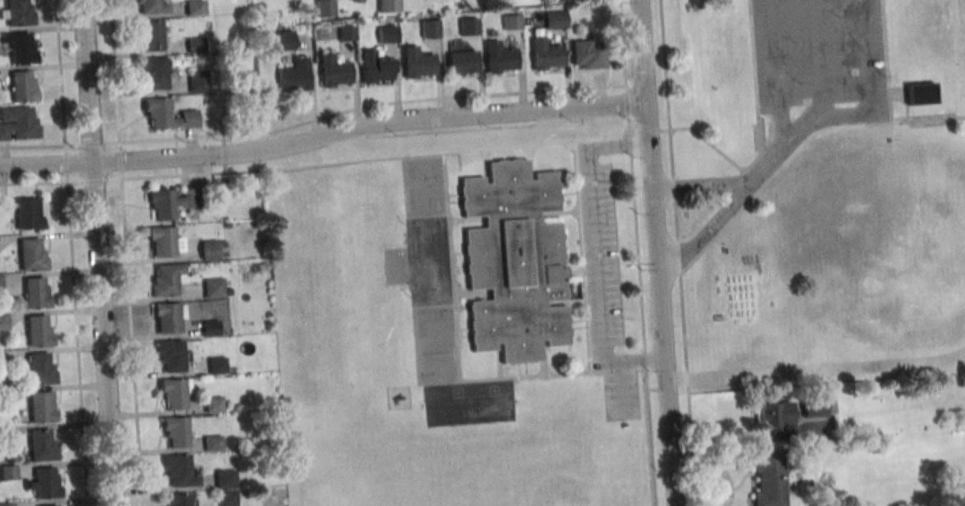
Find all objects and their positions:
building: (358, 0)
building: (559, 0)
building: (152, 6)
building: (388, 6)
building: (194, 7)
building: (324, 8)
building: (17, 12)
building: (555, 19)
building: (511, 21)
building: (468, 26)
building: (429, 29)
building: (346, 32)
building: (386, 34)
building: (150, 35)
building: (285, 40)
building: (195, 44)
building: (20, 46)
road: (870, 47)
road: (643, 51)
building: (545, 54)
building: (588, 54)
parking lot: (819, 54)
building: (500, 57)
road: (822, 58)
road: (886, 61)
building: (416, 62)
building: (462, 62)
building: (375, 66)
building: (333, 67)
building: (154, 71)
road: (779, 73)
building: (293, 76)
road: (755, 77)
road: (87, 79)
building: (197, 81)
building: (22, 86)
road: (667, 89)
road: (889, 93)
building: (921, 93)
road: (907, 107)
road: (858, 113)
building: (170, 114)
road: (312, 119)
road: (368, 122)
building: (18, 123)
road: (645, 126)
road: (801, 128)
road: (454, 140)
road: (649, 146)
road: (798, 147)
road: (719, 151)
road: (46, 162)
road: (769, 164)
road: (315, 165)
road: (702, 185)
road: (674, 187)
park: (819, 188)
building: (162, 203)
building: (4, 208)
building: (28, 213)
building: (191, 213)
road: (676, 219)
road: (655, 223)
road: (709, 229)
building: (165, 241)
building: (213, 249)
road: (637, 252)
road: (71, 253)
road: (125, 253)
road: (595, 253)
building: (32, 254)
road: (679, 258)
building: (513, 260)
building: (167, 280)
building: (0, 283)
building: (214, 287)
building: (36, 292)
building: (169, 315)
building: (3, 321)
building: (210, 327)
building: (39, 330)
road: (103, 332)
building: (170, 353)
building: (0, 359)
building: (217, 365)
building: (41, 369)
road: (666, 381)
road: (689, 390)
building: (176, 391)
building: (4, 397)
building: (213, 404)
building: (41, 406)
building: (819, 406)
building: (774, 415)
building: (176, 430)
building: (3, 435)
road: (727, 440)
building: (212, 442)
building: (41, 445)
building: (178, 469)
building: (7, 472)
building: (769, 477)
building: (224, 478)
building: (44, 482)
building: (227, 498)
building: (181, 499)
building: (6, 504)
building: (54, 505)

